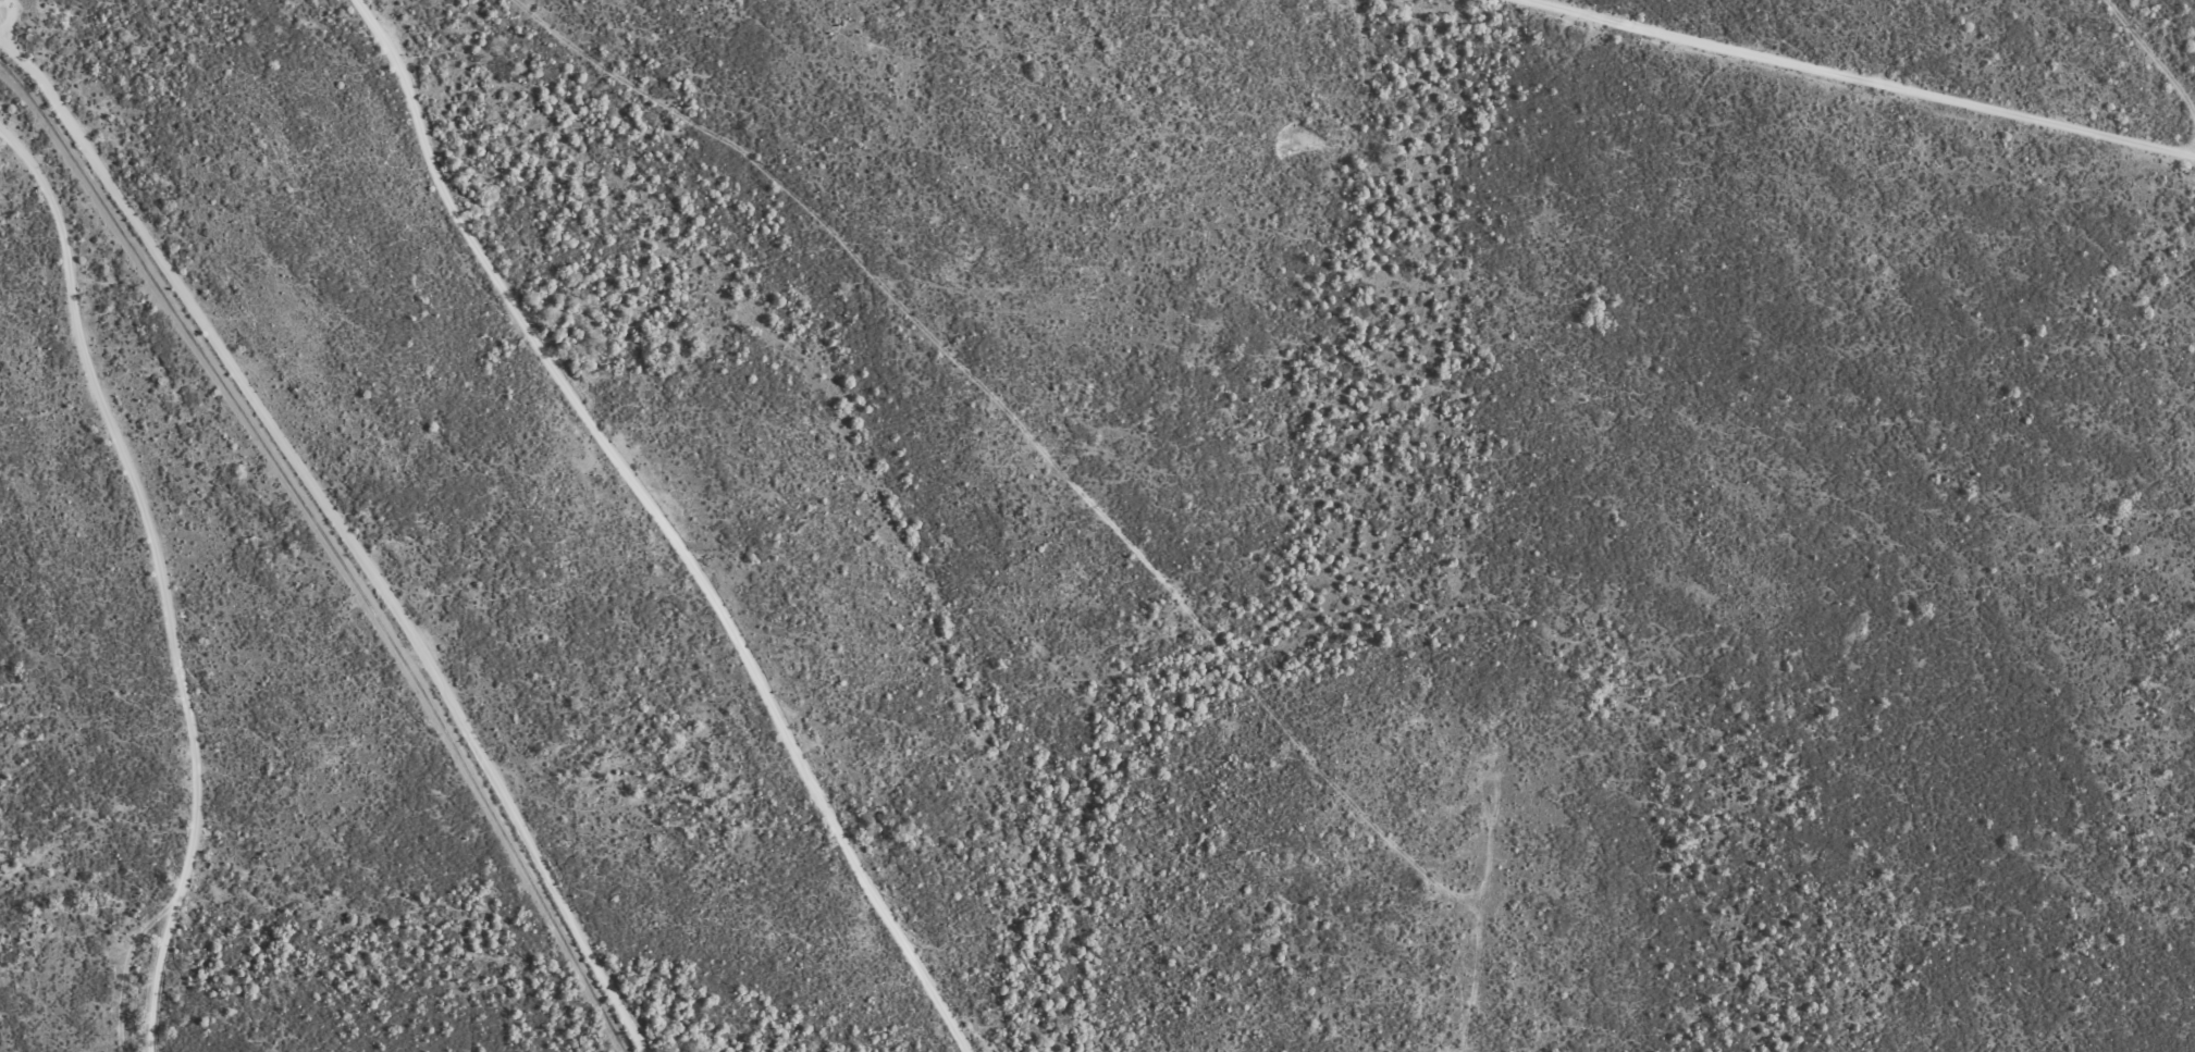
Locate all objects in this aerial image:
power tower: (2128, 32)
road: (1863, 76)
road: (670, 522)
road: (168, 572)

